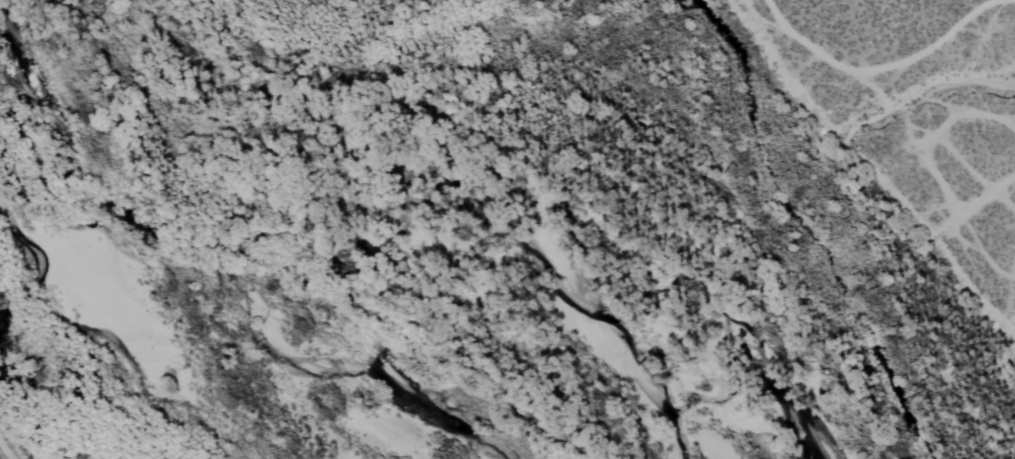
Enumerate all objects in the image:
river: (467, 229)

